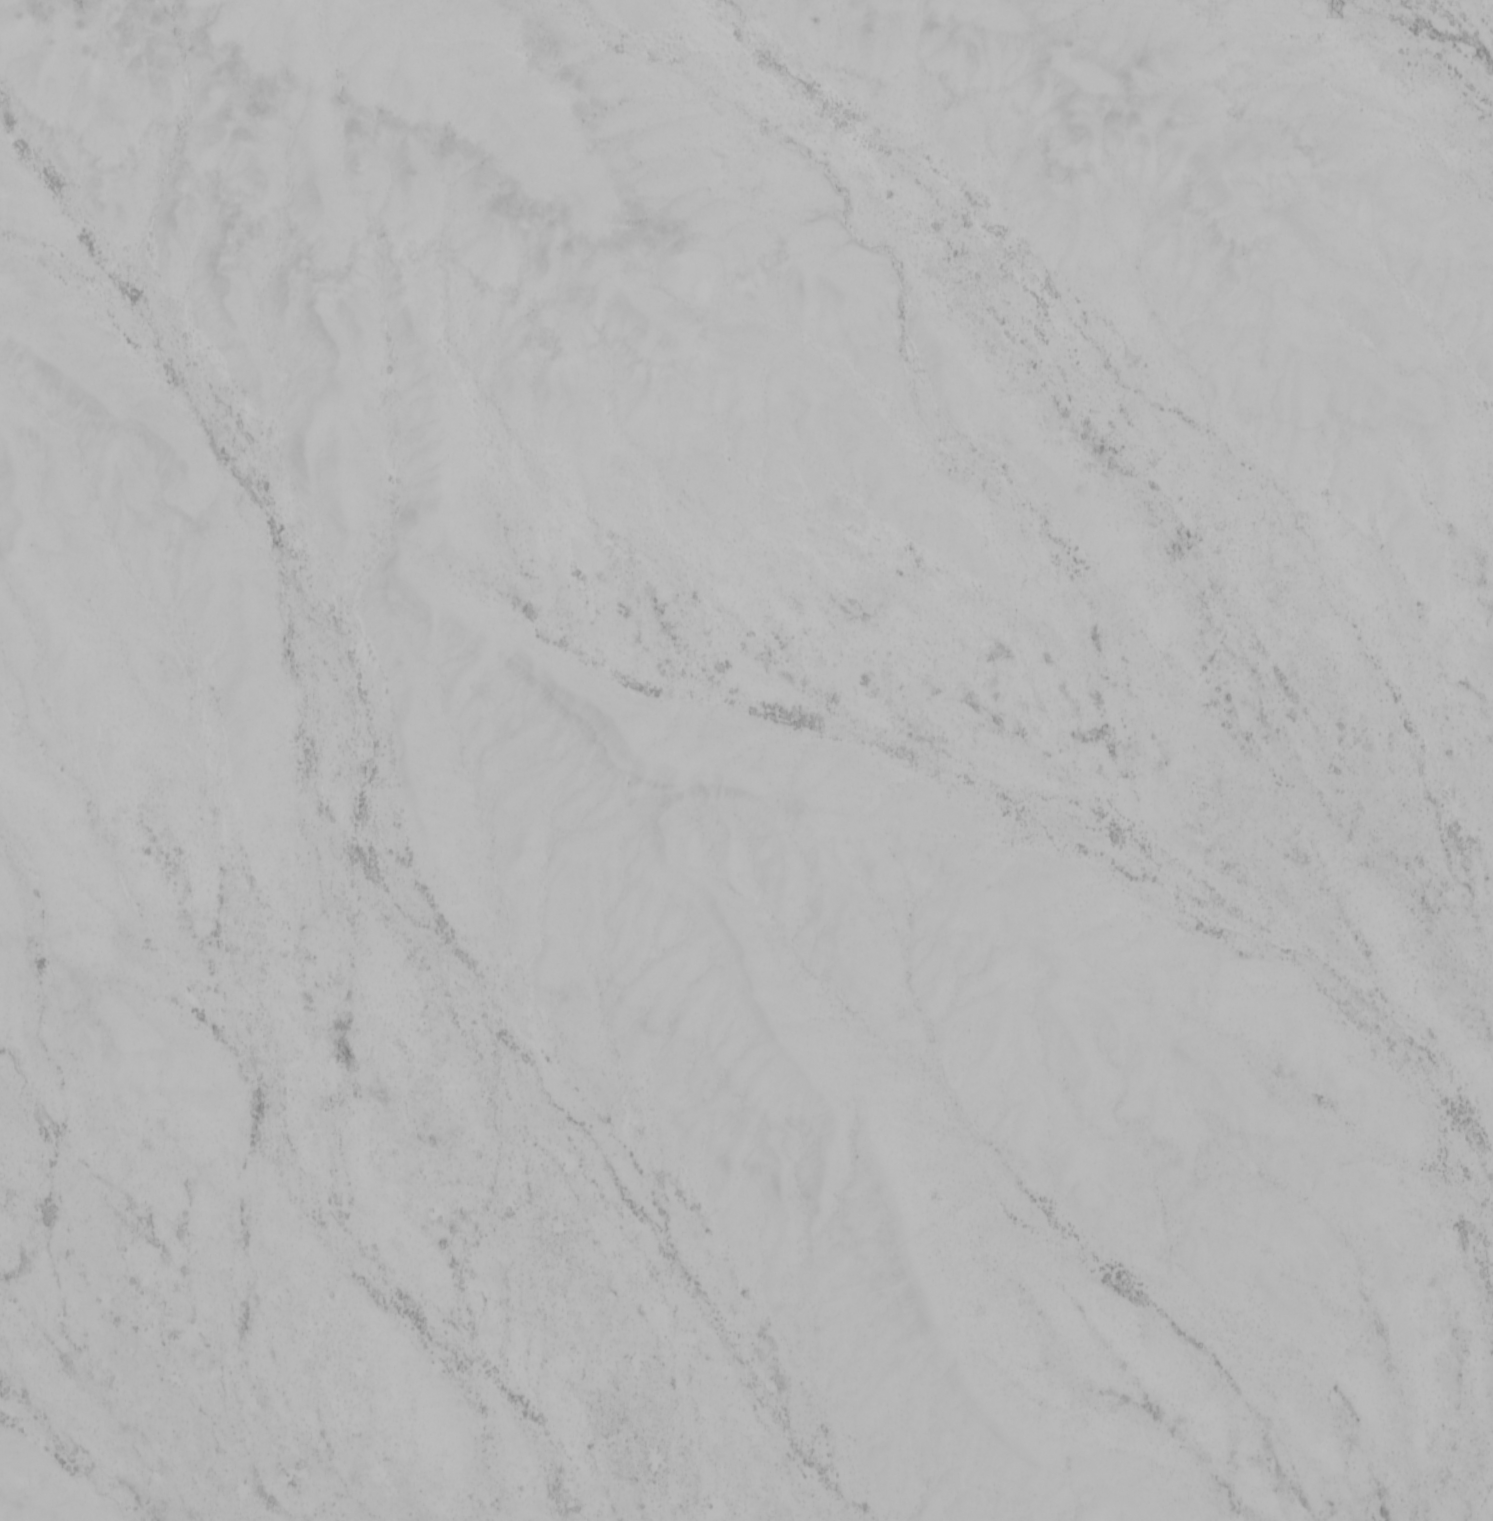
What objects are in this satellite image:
power tower: (1349, 8)

